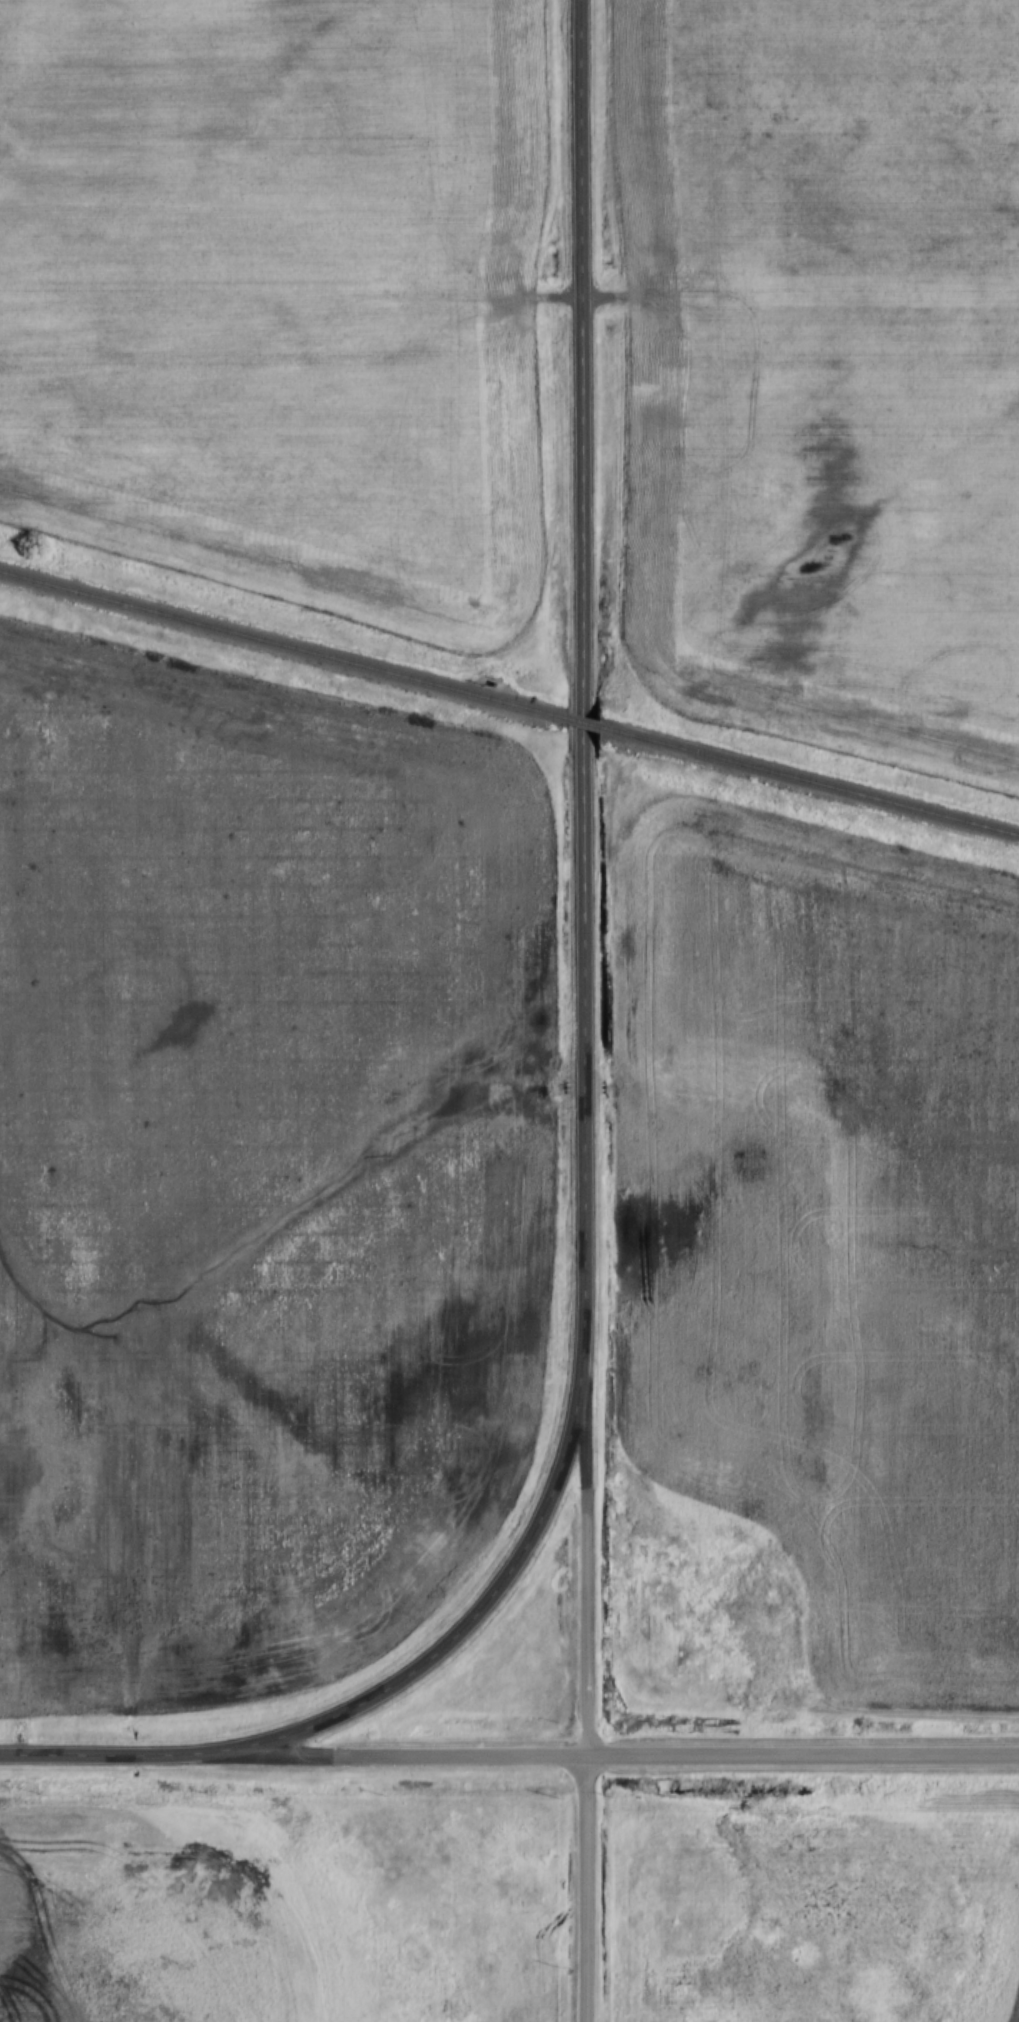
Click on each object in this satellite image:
railway: (282, 645)
road: (582, 686)
railway: (581, 722)
railway: (808, 780)
road: (583, 1563)
road: (445, 1646)
road: (78, 1754)
road: (369, 1754)
road: (800, 1754)
road: (582, 1888)
crop: (150, 1920)

